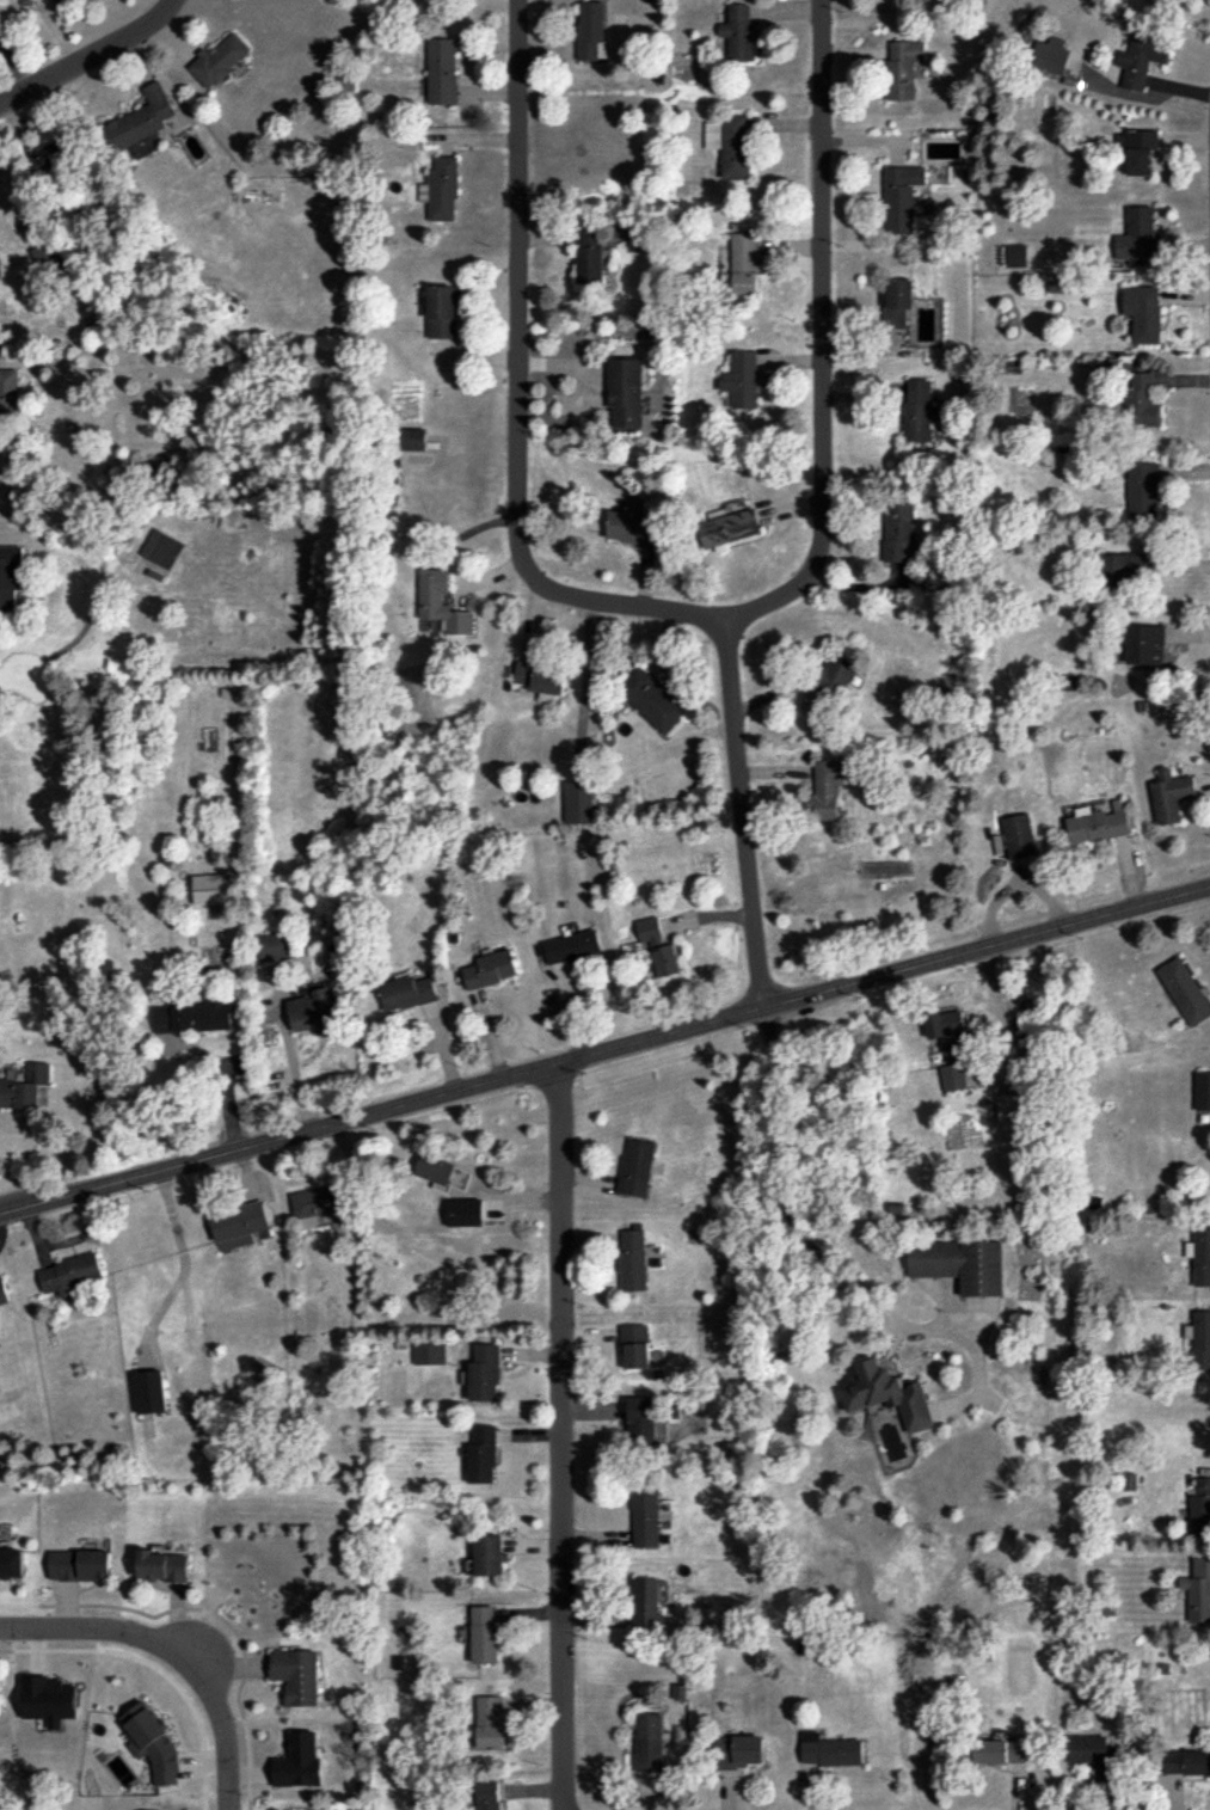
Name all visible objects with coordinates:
building: (590, 29)
building: (739, 31)
building: (0, 32)
building: (1051, 55)
road: (88, 57)
building: (1142, 59)
building: (219, 60)
building: (903, 68)
building: (442, 70)
road: (1147, 96)
building: (140, 118)
building: (730, 143)
building: (1141, 149)
building: (50, 157)
building: (441, 189)
building: (901, 196)
building: (1138, 237)
building: (44, 254)
building: (589, 254)
building: (1016, 254)
building: (744, 260)
building: (898, 301)
building: (442, 311)
building: (1143, 312)
road: (818, 336)
building: (742, 379)
building: (8, 388)
road: (516, 391)
building: (626, 391)
building: (1141, 399)
building: (919, 410)
building: (412, 438)
building: (1142, 487)
building: (632, 526)
building: (729, 528)
building: (899, 530)
building: (161, 547)
building: (1123, 565)
building: (10, 576)
building: (441, 601)
building: (1144, 643)
building: (836, 675)
building: (541, 680)
building: (651, 699)
building: (827, 787)
building: (1169, 794)
building: (579, 800)
road: (741, 812)
building: (1097, 826)
building: (1019, 835)
building: (211, 888)
building: (658, 945)
building: (275, 946)
building: (572, 946)
building: (492, 968)
building: (104, 969)
building: (1185, 990)
building: (407, 992)
building: (313, 1011)
building: (194, 1014)
building: (948, 1031)
road: (604, 1051)
road: (291, 1062)
building: (952, 1075)
building: (24, 1086)
building: (1203, 1090)
building: (1008, 1110)
building: (635, 1166)
building: (317, 1204)
building: (465, 1211)
road: (784, 1214)
building: (239, 1225)
building: (1200, 1256)
building: (632, 1260)
building: (960, 1263)
road: (183, 1264)
building: (70, 1274)
building: (2, 1291)
building: (1199, 1338)
building: (635, 1345)
building: (429, 1352)
building: (484, 1373)
building: (149, 1391)
building: (887, 1392)
building: (641, 1419)
road: (565, 1436)
building: (481, 1454)
building: (1200, 1507)
building: (645, 1516)
building: (489, 1554)
building: (13, 1564)
building: (79, 1564)
building: (162, 1564)
park: (258, 1565)
building: (1198, 1589)
building: (646, 1602)
road: (165, 1610)
building: (484, 1633)
road: (177, 1646)
road: (4, 1649)
road: (927, 1651)
building: (299, 1674)
road: (182, 1695)
building: (491, 1722)
building: (650, 1742)
building: (151, 1743)
building: (830, 1749)
building: (739, 1750)
building: (1000, 1750)
building: (1091, 1751)
building: (297, 1760)
building: (1186, 1761)
building: (489, 1794)
road: (250, 1805)

